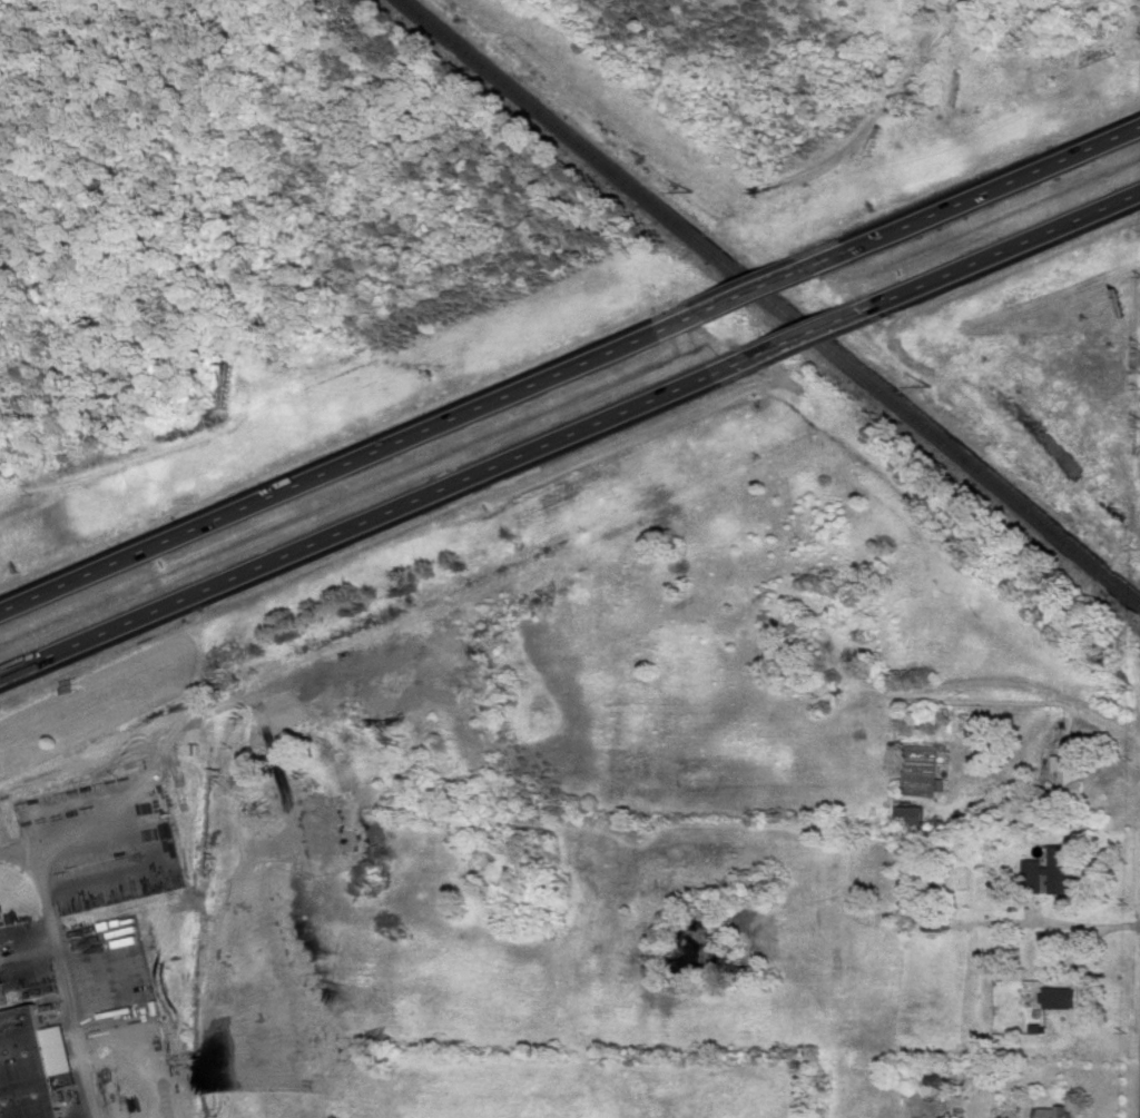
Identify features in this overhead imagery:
road: (980, 191)
road: (1013, 248)
road: (758, 287)
railway: (766, 306)
road: (819, 332)
road: (347, 461)
road: (375, 520)
building: (1071, 770)
building: (911, 813)
building: (1064, 868)
building: (1035, 874)
road: (1080, 924)
road: (67, 972)
building: (3, 982)
building: (1063, 996)
building: (28, 1063)
building: (1055, 1110)

